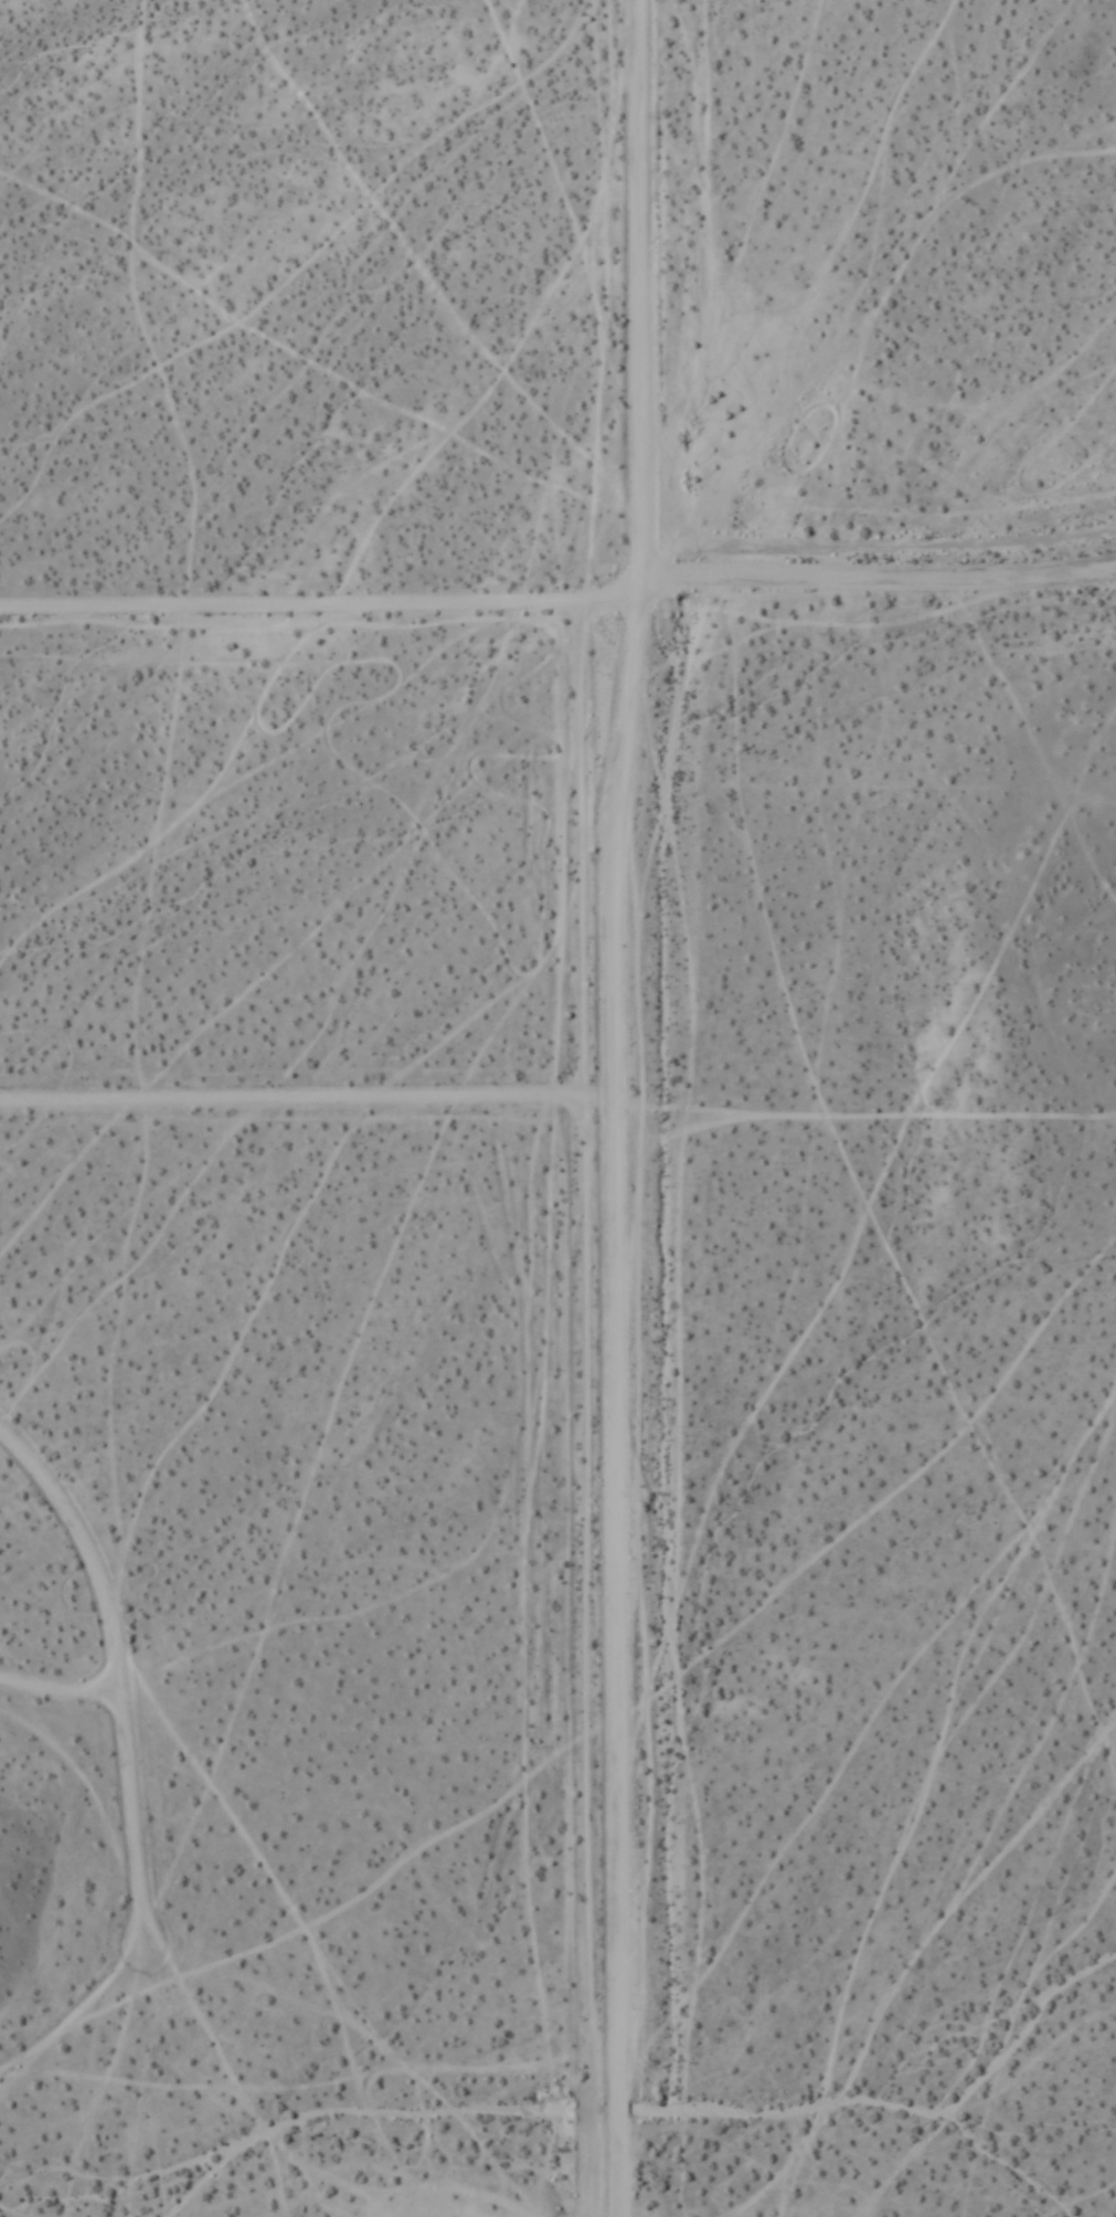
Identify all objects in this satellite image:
road: (858, 550)
road: (874, 588)
road: (626, 605)
road: (308, 606)
road: (309, 1101)
road: (594, 1102)
road: (619, 1408)
road: (121, 1672)
road: (61, 1688)

